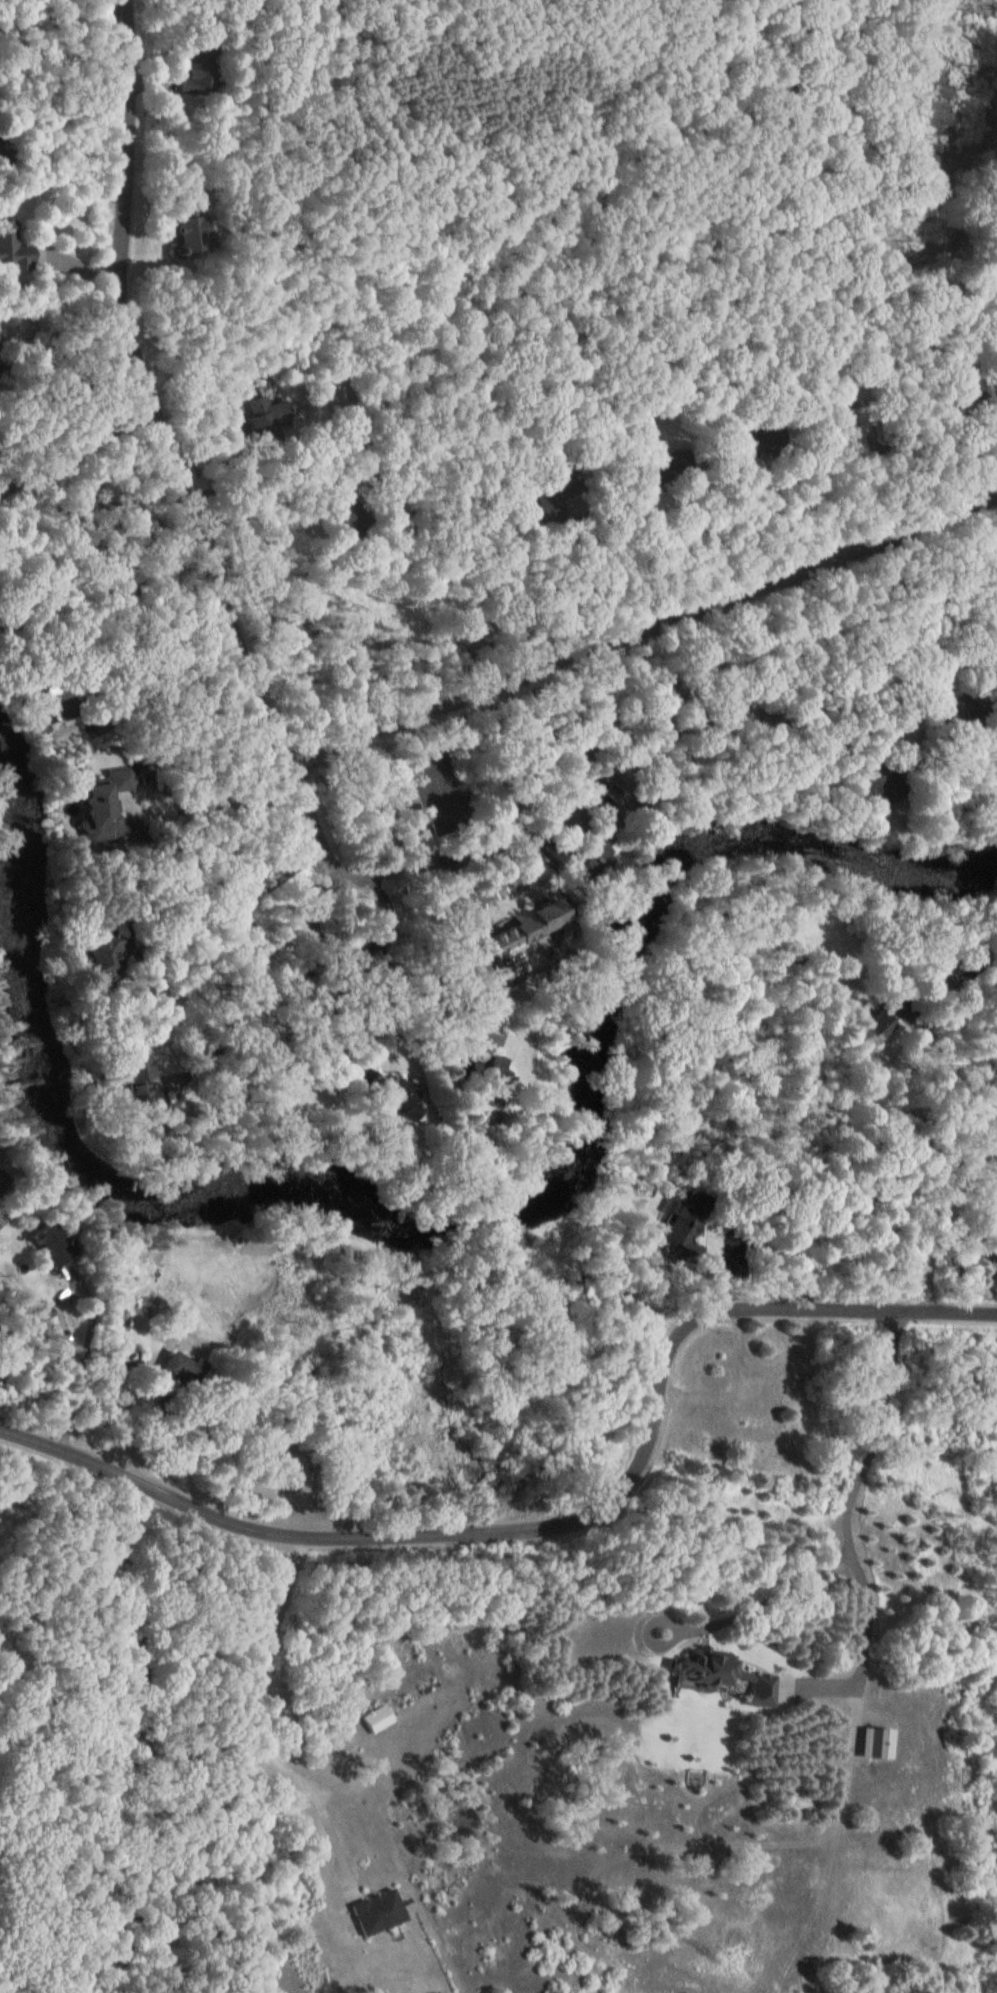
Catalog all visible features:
building: (194, 68)
building: (180, 227)
building: (9, 253)
road: (145, 392)
building: (257, 421)
road: (75, 449)
building: (643, 472)
building: (330, 523)
road: (636, 630)
building: (946, 712)
building: (861, 793)
building: (90, 811)
building: (574, 858)
road: (324, 861)
building: (507, 943)
building: (90, 962)
building: (948, 975)
road: (390, 1024)
building: (865, 1027)
building: (126, 1075)
building: (381, 1092)
road: (945, 1204)
river: (439, 1226)
building: (676, 1234)
building: (40, 1246)
building: (992, 1254)
building: (167, 1372)
building: (748, 1400)
road: (840, 1514)
road: (555, 1521)
road: (242, 1711)
building: (388, 1719)
building: (381, 1913)

